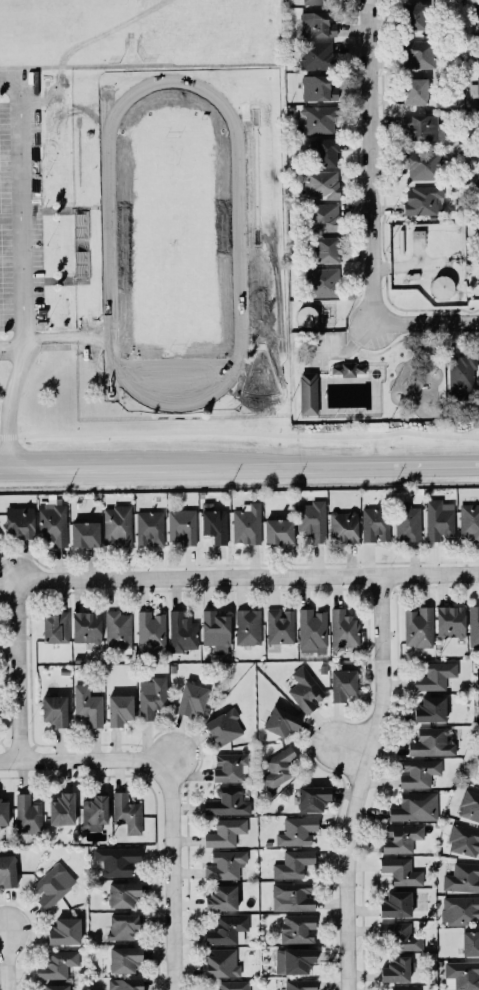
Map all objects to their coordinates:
building: (315, 1)
building: (477, 8)
building: (412, 15)
building: (316, 23)
park: (206, 28)
park: (61, 30)
building: (418, 52)
building: (315, 53)
building: (317, 86)
building: (474, 88)
building: (414, 89)
building: (319, 118)
building: (423, 125)
building: (325, 150)
road: (370, 156)
building: (421, 164)
building: (477, 167)
building: (320, 183)
building: (422, 198)
road: (19, 202)
building: (322, 215)
parking lot: (21, 216)
stadium: (179, 240)
park: (174, 243)
building: (326, 248)
building: (322, 280)
building: (442, 285)
building: (305, 314)
road: (427, 321)
road: (10, 347)
building: (348, 367)
building: (461, 370)
park: (366, 376)
building: (307, 392)
road: (9, 403)
road: (196, 460)
road: (436, 460)
building: (311, 517)
building: (438, 518)
building: (469, 518)
building: (19, 521)
building: (53, 521)
building: (246, 522)
building: (374, 522)
building: (407, 522)
building: (117, 524)
building: (214, 524)
building: (182, 525)
building: (343, 525)
building: (149, 526)
building: (278, 528)
building: (84, 532)
road: (246, 574)
building: (450, 619)
building: (280, 624)
building: (473, 624)
building: (55, 625)
building: (86, 625)
building: (248, 625)
building: (418, 625)
building: (312, 627)
building: (215, 628)
building: (343, 628)
building: (117, 629)
building: (151, 630)
building: (182, 630)
road: (15, 670)
building: (434, 674)
building: (342, 684)
building: (305, 688)
building: (151, 695)
building: (191, 697)
building: (87, 703)
building: (429, 707)
building: (54, 708)
building: (120, 709)
building: (281, 721)
building: (224, 725)
building: (432, 740)
road: (350, 755)
road: (89, 761)
building: (230, 765)
building: (278, 765)
building: (418, 771)
road: (366, 780)
building: (311, 796)
building: (227, 800)
building: (469, 804)
building: (410, 805)
building: (61, 808)
building: (3, 810)
building: (94, 811)
building: (127, 811)
building: (27, 812)
building: (296, 829)
building: (225, 831)
building: (401, 836)
building: (463, 838)
building: (118, 859)
building: (293, 862)
building: (223, 863)
building: (7, 869)
building: (400, 869)
road: (180, 875)
building: (460, 875)
building: (53, 884)
building: (123, 893)
building: (293, 894)
building: (221, 896)
building: (395, 902)
building: (459, 908)
building: (123, 925)
building: (297, 927)
building: (226, 928)
building: (64, 929)
building: (400, 935)
building: (470, 942)
building: (124, 957)
building: (293, 958)
road: (7, 959)
building: (221, 961)
building: (56, 963)
building: (397, 967)
building: (461, 973)
building: (124, 983)
building: (231, 984)
building: (298, 984)
building: (56, 986)
building: (404, 988)

